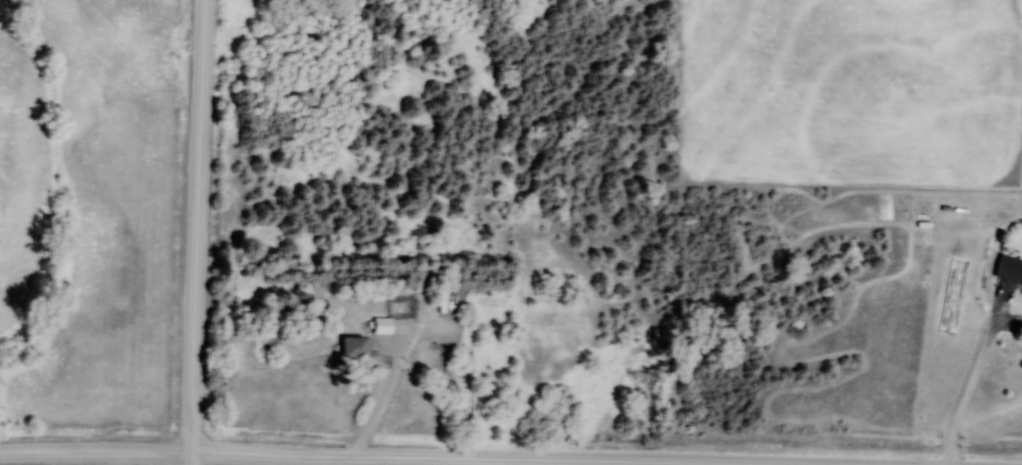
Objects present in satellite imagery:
road: (198, 225)
building: (1010, 269)
building: (430, 279)
building: (382, 326)
building: (356, 348)
road: (974, 376)
road: (96, 450)
road: (191, 457)
road: (472, 457)

